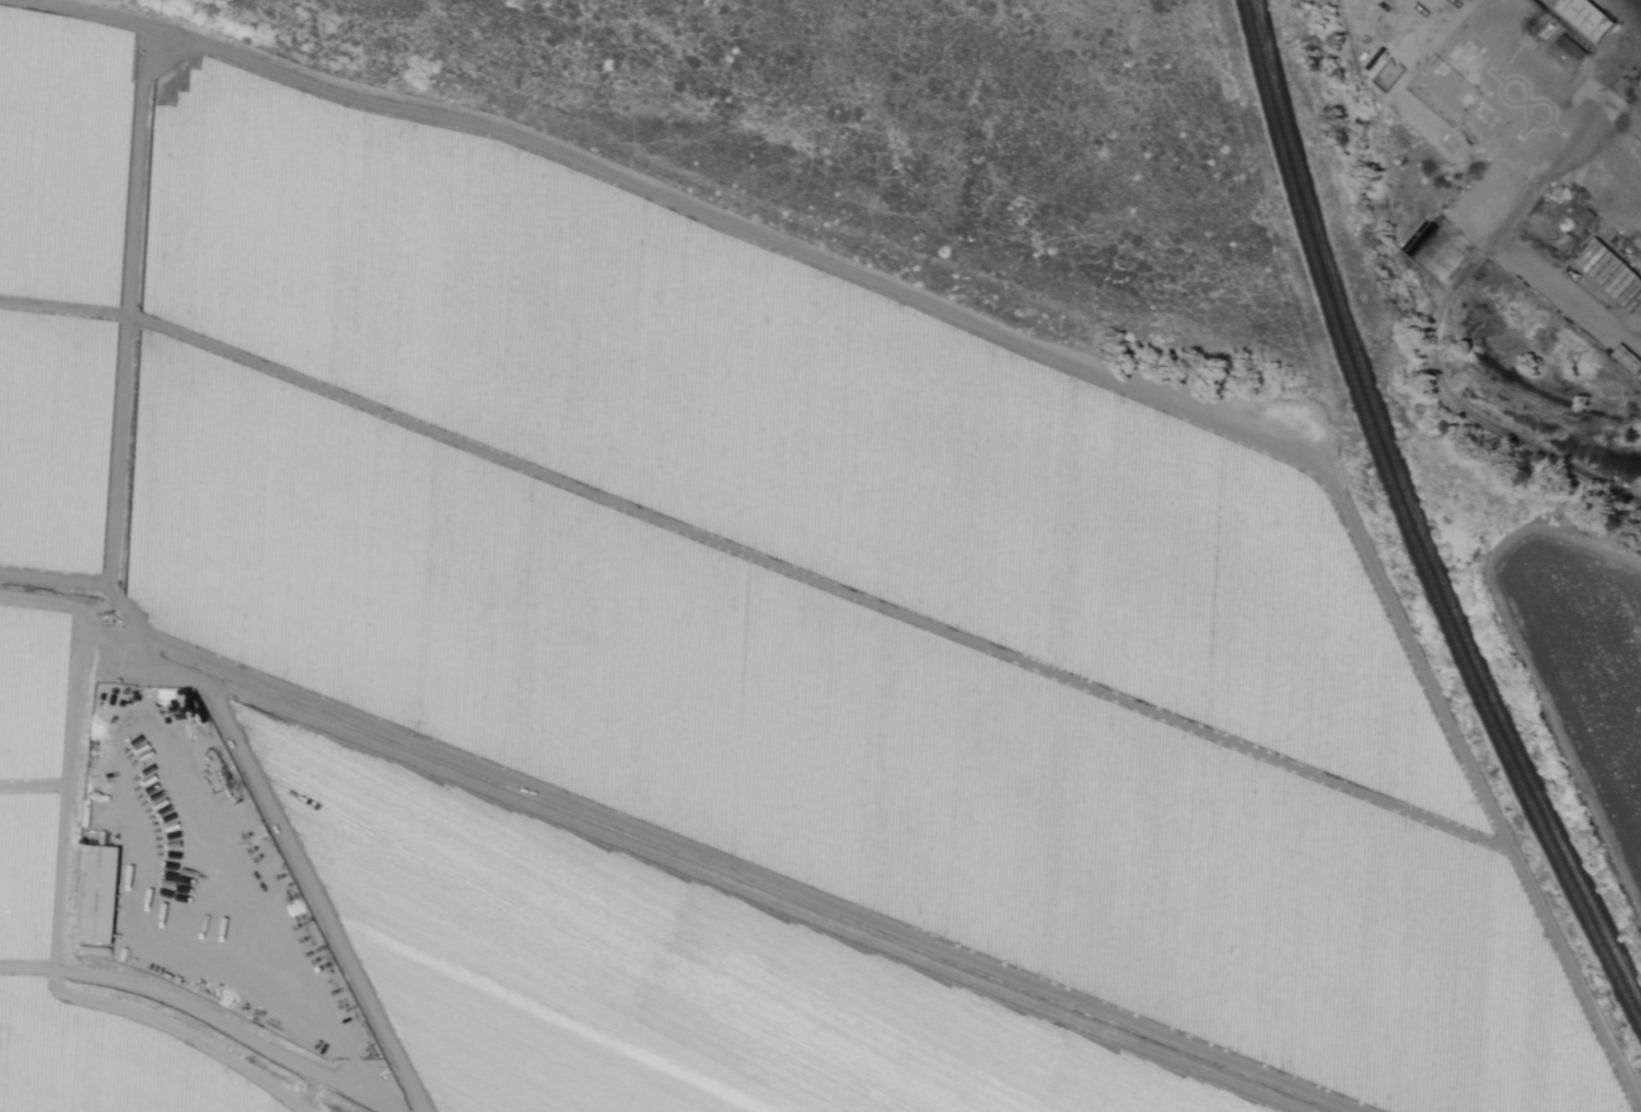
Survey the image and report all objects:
building: (1590, 19)
building: (1571, 56)
park: (957, 116)
crop: (63, 284)
railway: (1417, 514)
railway: (1408, 526)
crop: (818, 595)
crop: (1590, 669)
crop: (35, 693)
crop: (30, 874)
building: (102, 896)
crop: (682, 952)
crop: (507, 1047)
crop: (114, 1062)

